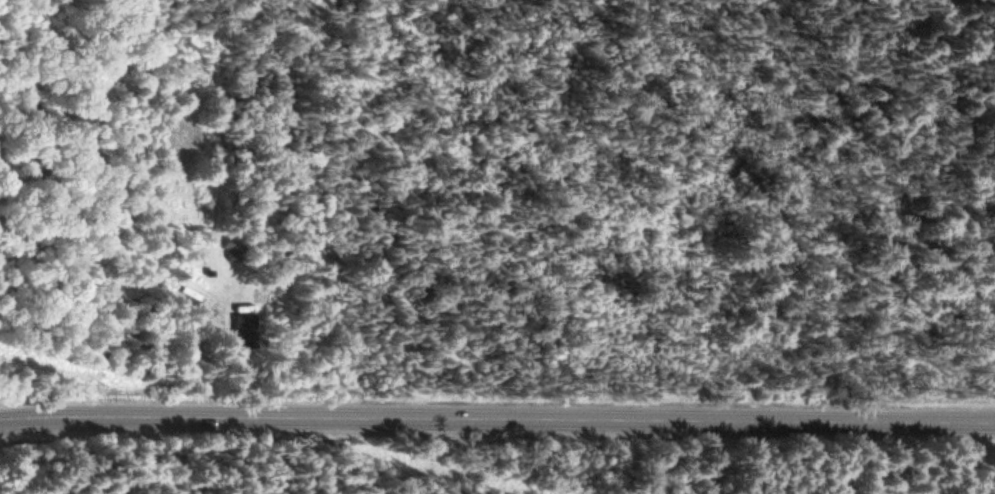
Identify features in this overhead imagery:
building: (247, 332)
road: (497, 420)

